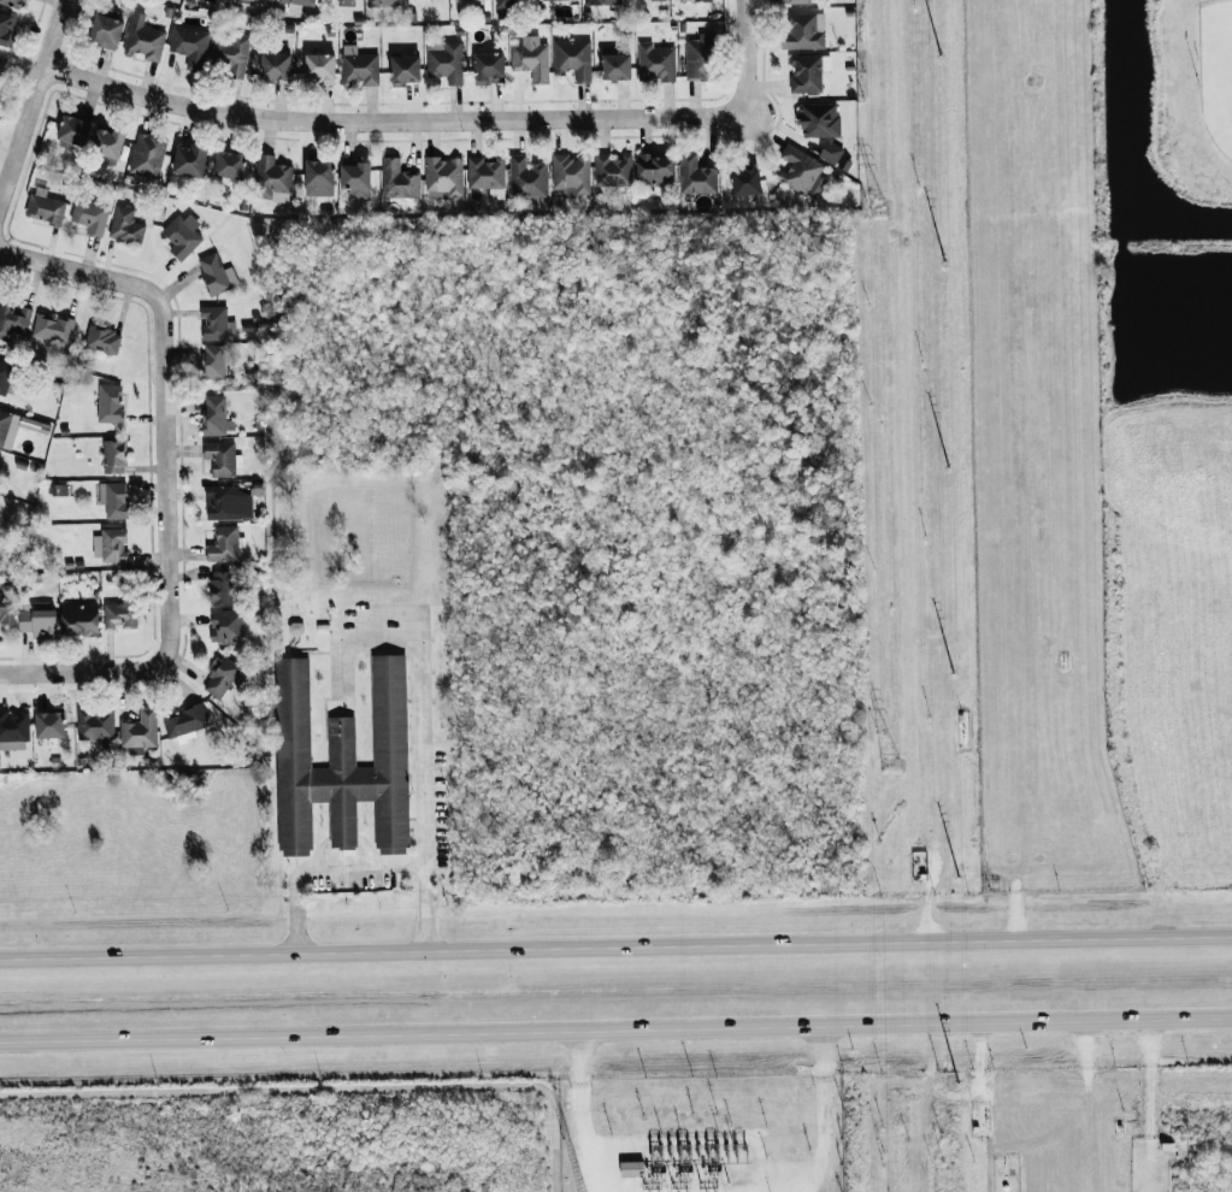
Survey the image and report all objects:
building: (544, 0)
building: (656, 0)
building: (702, 0)
building: (297, 1)
building: (601, 1)
building: (794, 1)
building: (14, 2)
building: (248, 2)
building: (384, 2)
building: (502, 4)
building: (6, 24)
building: (803, 30)
building: (105, 31)
building: (143, 39)
building: (190, 46)
building: (229, 53)
building: (572, 58)
building: (697, 58)
building: (531, 60)
building: (1, 61)
building: (446, 63)
building: (655, 63)
building: (275, 66)
building: (358, 66)
building: (615, 66)
road: (750, 66)
building: (319, 67)
building: (488, 67)
building: (405, 70)
building: (807, 71)
park: (1216, 72)
building: (0, 79)
road: (37, 107)
park: (1161, 117)
building: (818, 119)
road: (390, 128)
building: (72, 130)
building: (107, 142)
building: (831, 151)
building: (147, 155)
building: (189, 160)
building: (229, 164)
building: (613, 170)
building: (655, 171)
building: (801, 171)
building: (484, 172)
building: (571, 173)
building: (443, 175)
building: (695, 176)
building: (318, 177)
building: (526, 177)
building: (271, 178)
building: (355, 179)
building: (399, 179)
building: (744, 181)
building: (45, 208)
power tower: (877, 208)
building: (89, 216)
building: (125, 225)
building: (181, 235)
building: (216, 273)
road: (98, 276)
building: (13, 319)
building: (216, 323)
building: (52, 327)
building: (102, 338)
building: (212, 361)
building: (4, 374)
building: (108, 403)
building: (216, 415)
building: (41, 430)
building: (113, 455)
building: (220, 458)
building: (113, 498)
road: (178, 500)
building: (228, 503)
building: (223, 544)
building: (108, 545)
building: (222, 588)
building: (5, 603)
building: (119, 614)
building: (79, 619)
building: (37, 621)
building: (225, 625)
road: (82, 665)
road: (419, 668)
building: (220, 677)
building: (184, 721)
building: (49, 724)
building: (95, 724)
building: (13, 730)
building: (138, 730)
building: (342, 762)
power tower: (890, 763)
road: (365, 861)
road: (615, 948)
road: (615, 1029)
road: (325, 1087)
power substation: (700, 1133)

